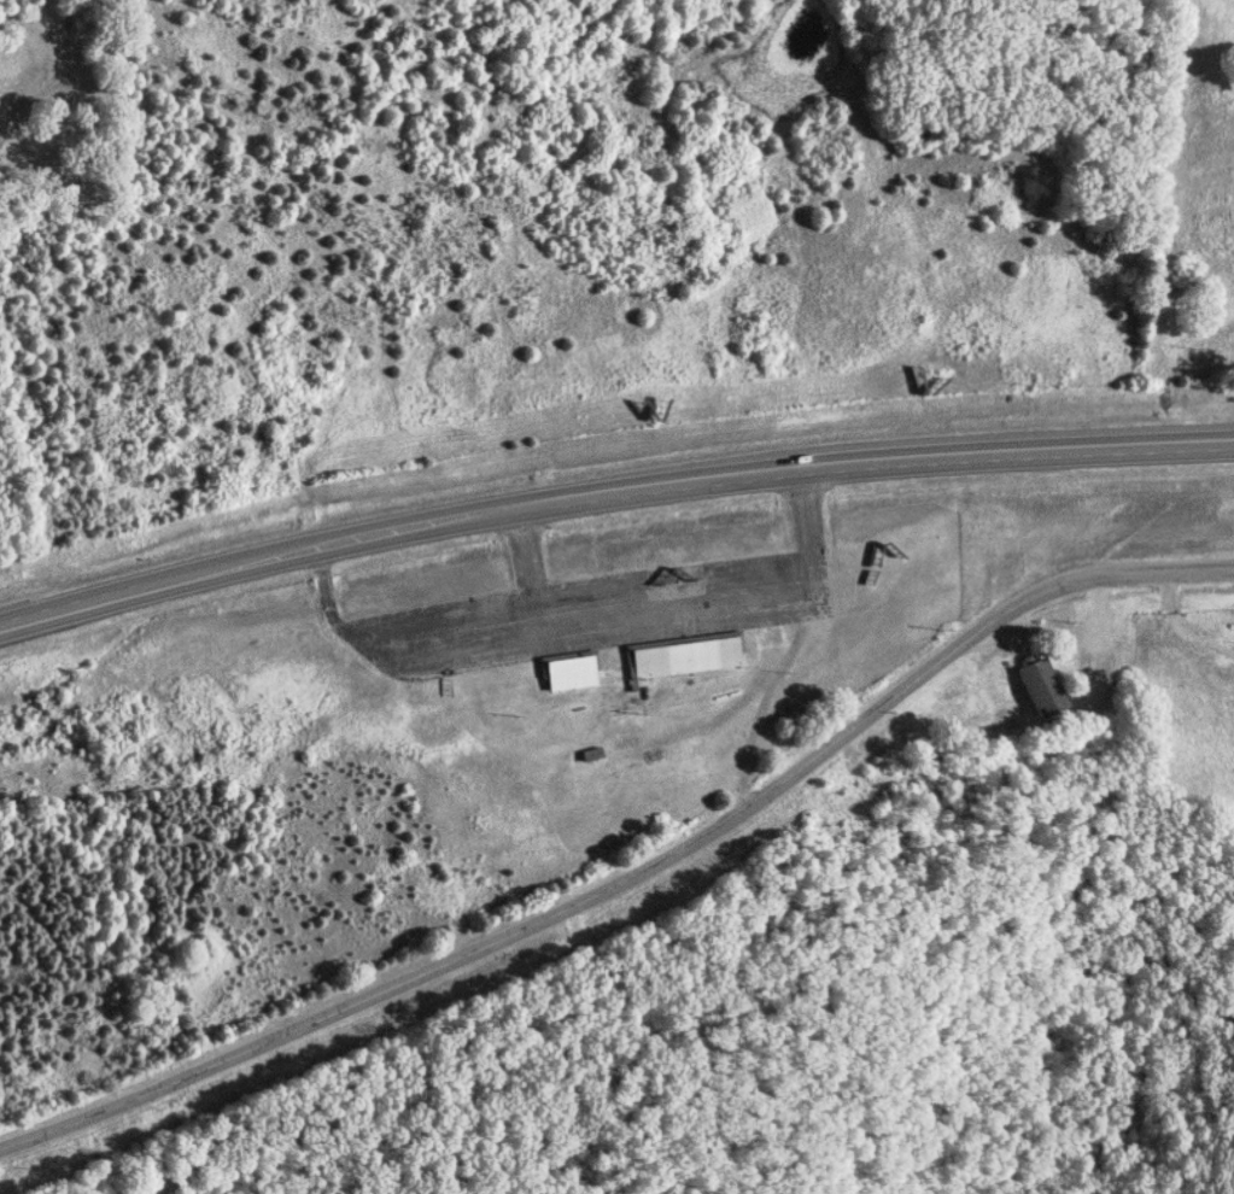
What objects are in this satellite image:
road: (610, 496)
road: (1179, 627)
building: (771, 634)
building: (683, 655)
building: (568, 671)
building: (1035, 687)
road: (636, 874)

